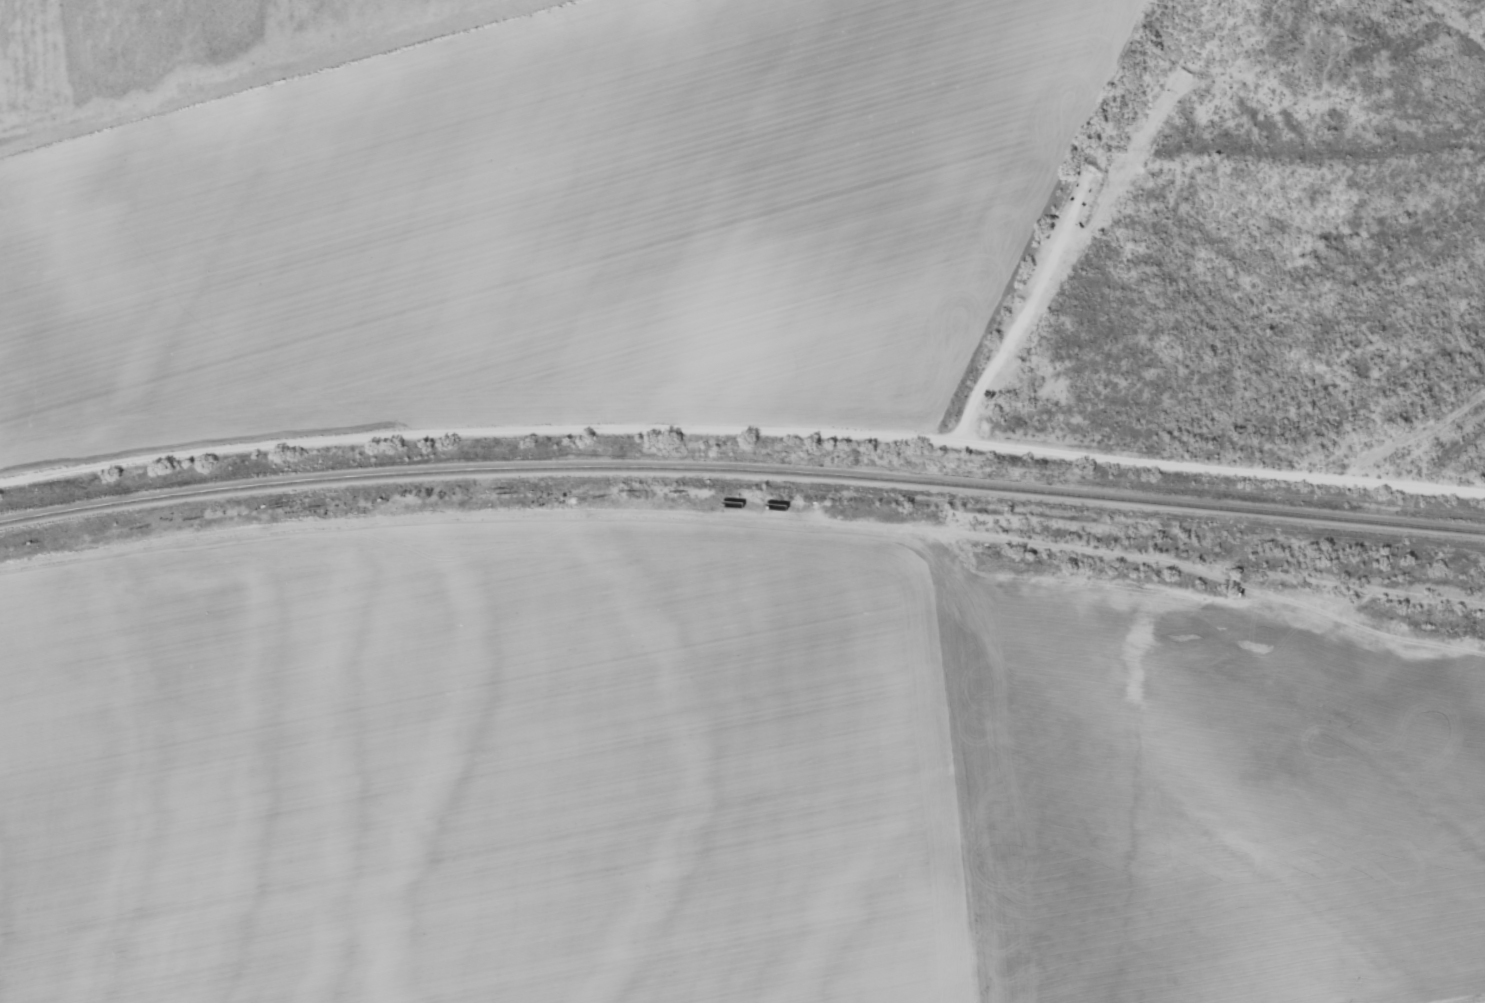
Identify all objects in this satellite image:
railway: (742, 469)
road: (588, 510)
road: (1277, 594)
road: (1431, 596)

